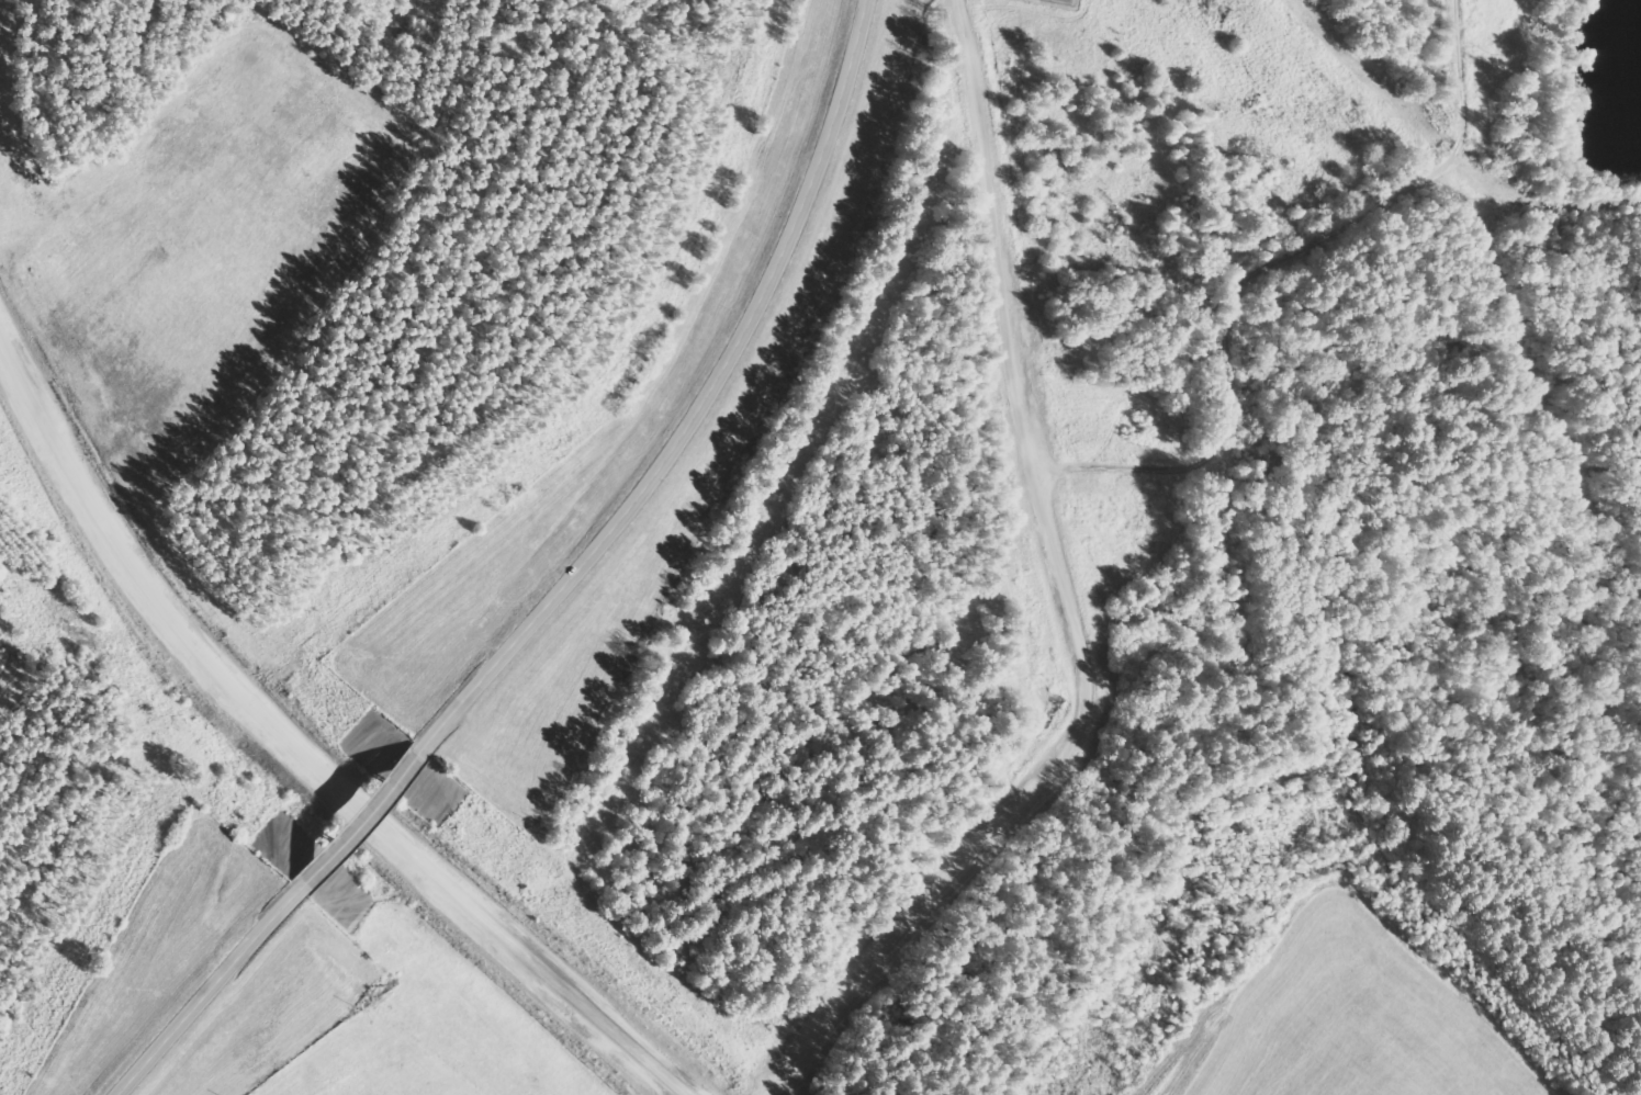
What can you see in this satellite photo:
road: (696, 407)
road: (292, 747)
road: (351, 817)
road: (203, 991)

